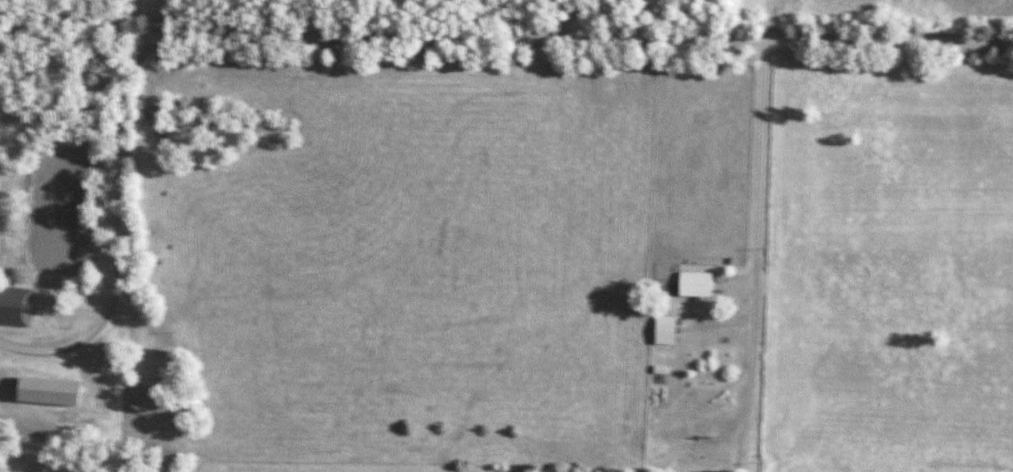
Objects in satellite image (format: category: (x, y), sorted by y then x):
road: (572, 19)
road: (134, 20)
road: (377, 37)
road: (752, 232)
building: (694, 283)
building: (15, 306)
building: (664, 330)

